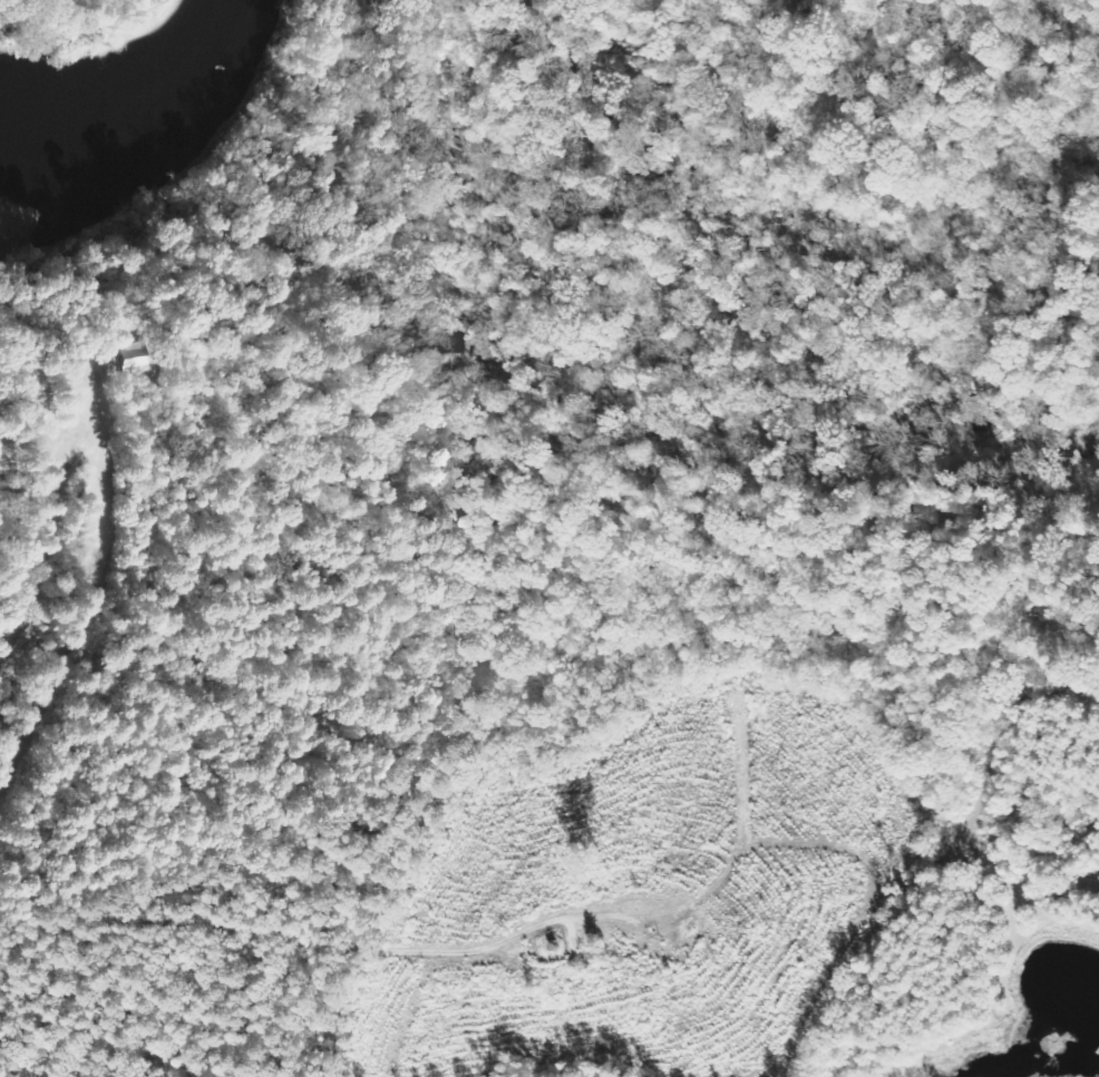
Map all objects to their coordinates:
river: (157, 140)
building: (128, 358)
road: (312, 957)

